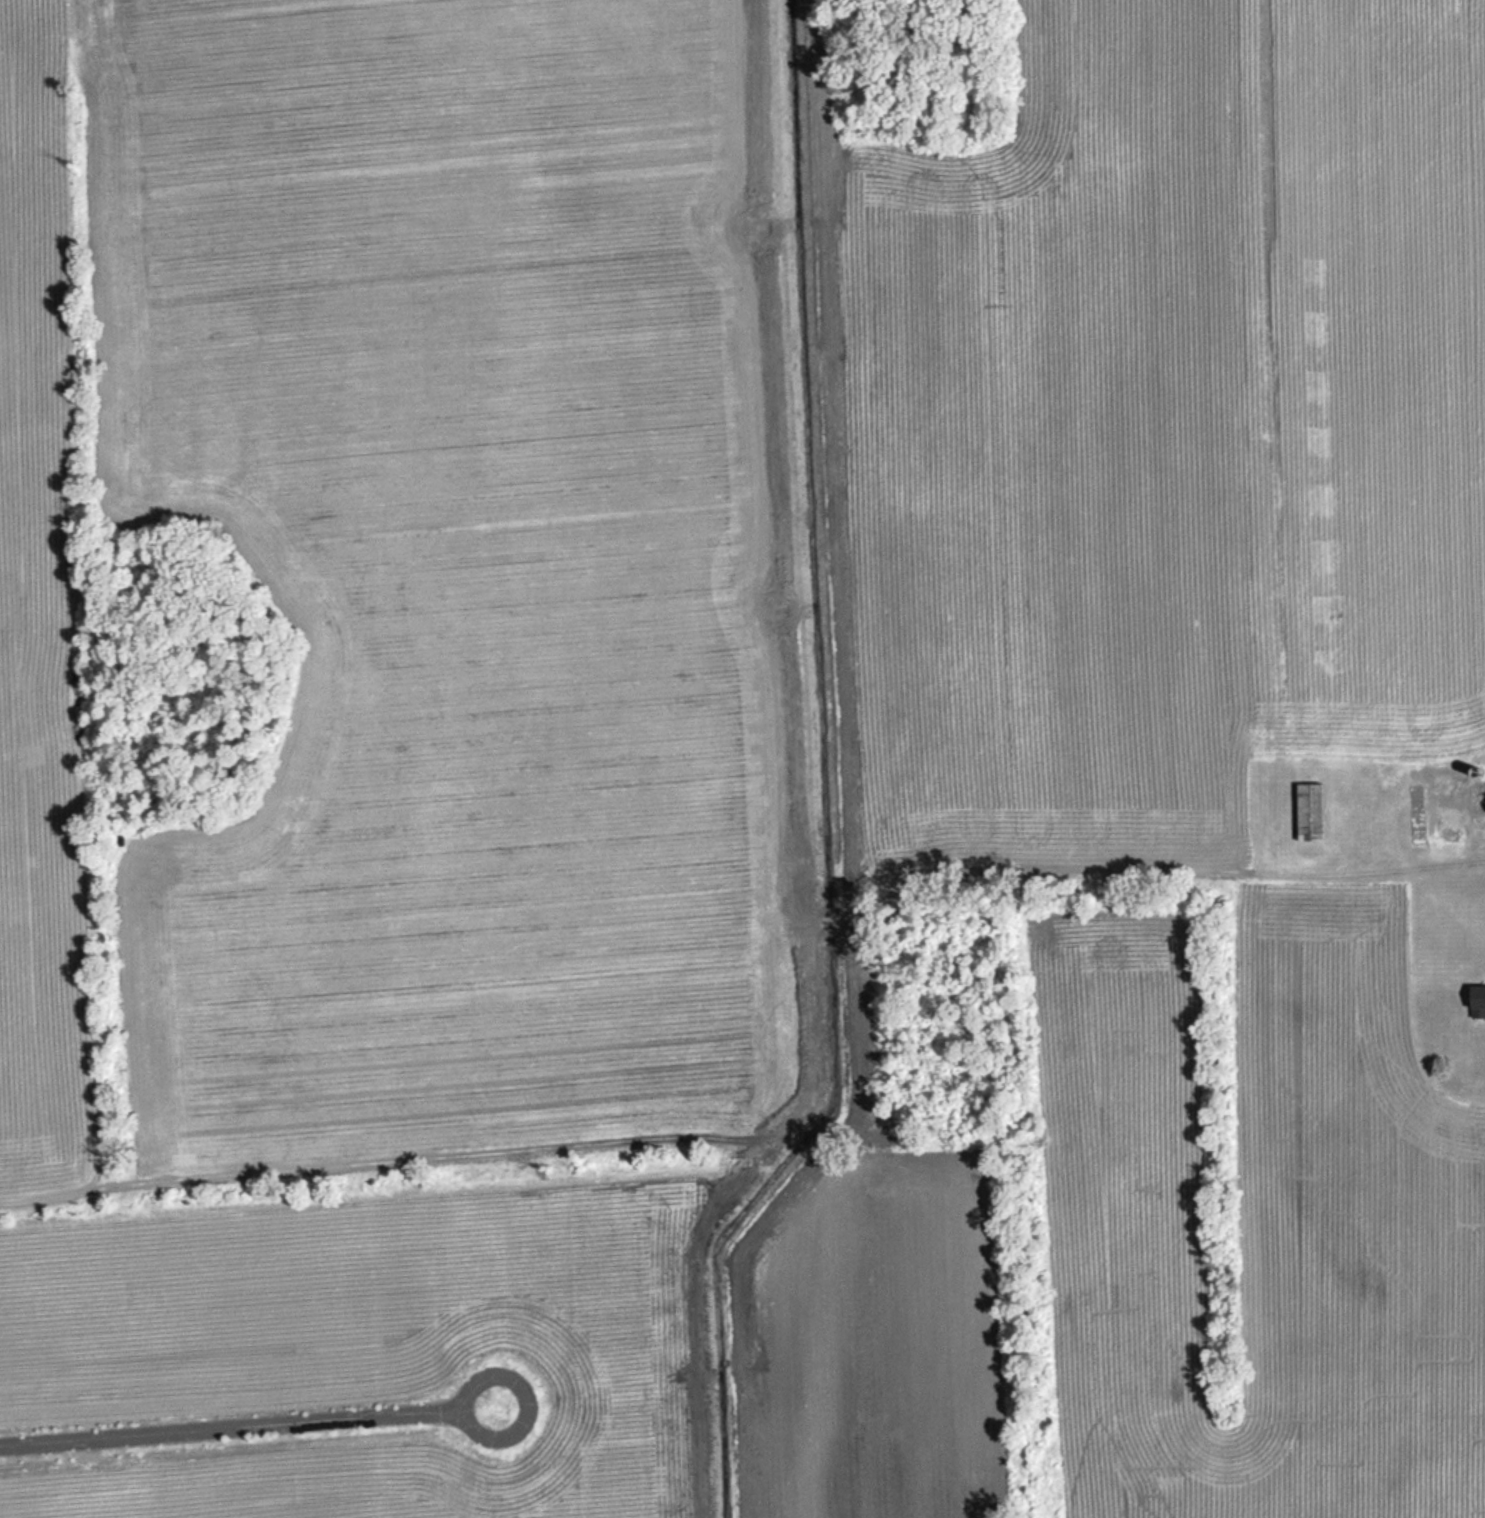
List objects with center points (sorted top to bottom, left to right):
building: (1311, 811)
building: (1478, 1000)
road: (249, 1421)

